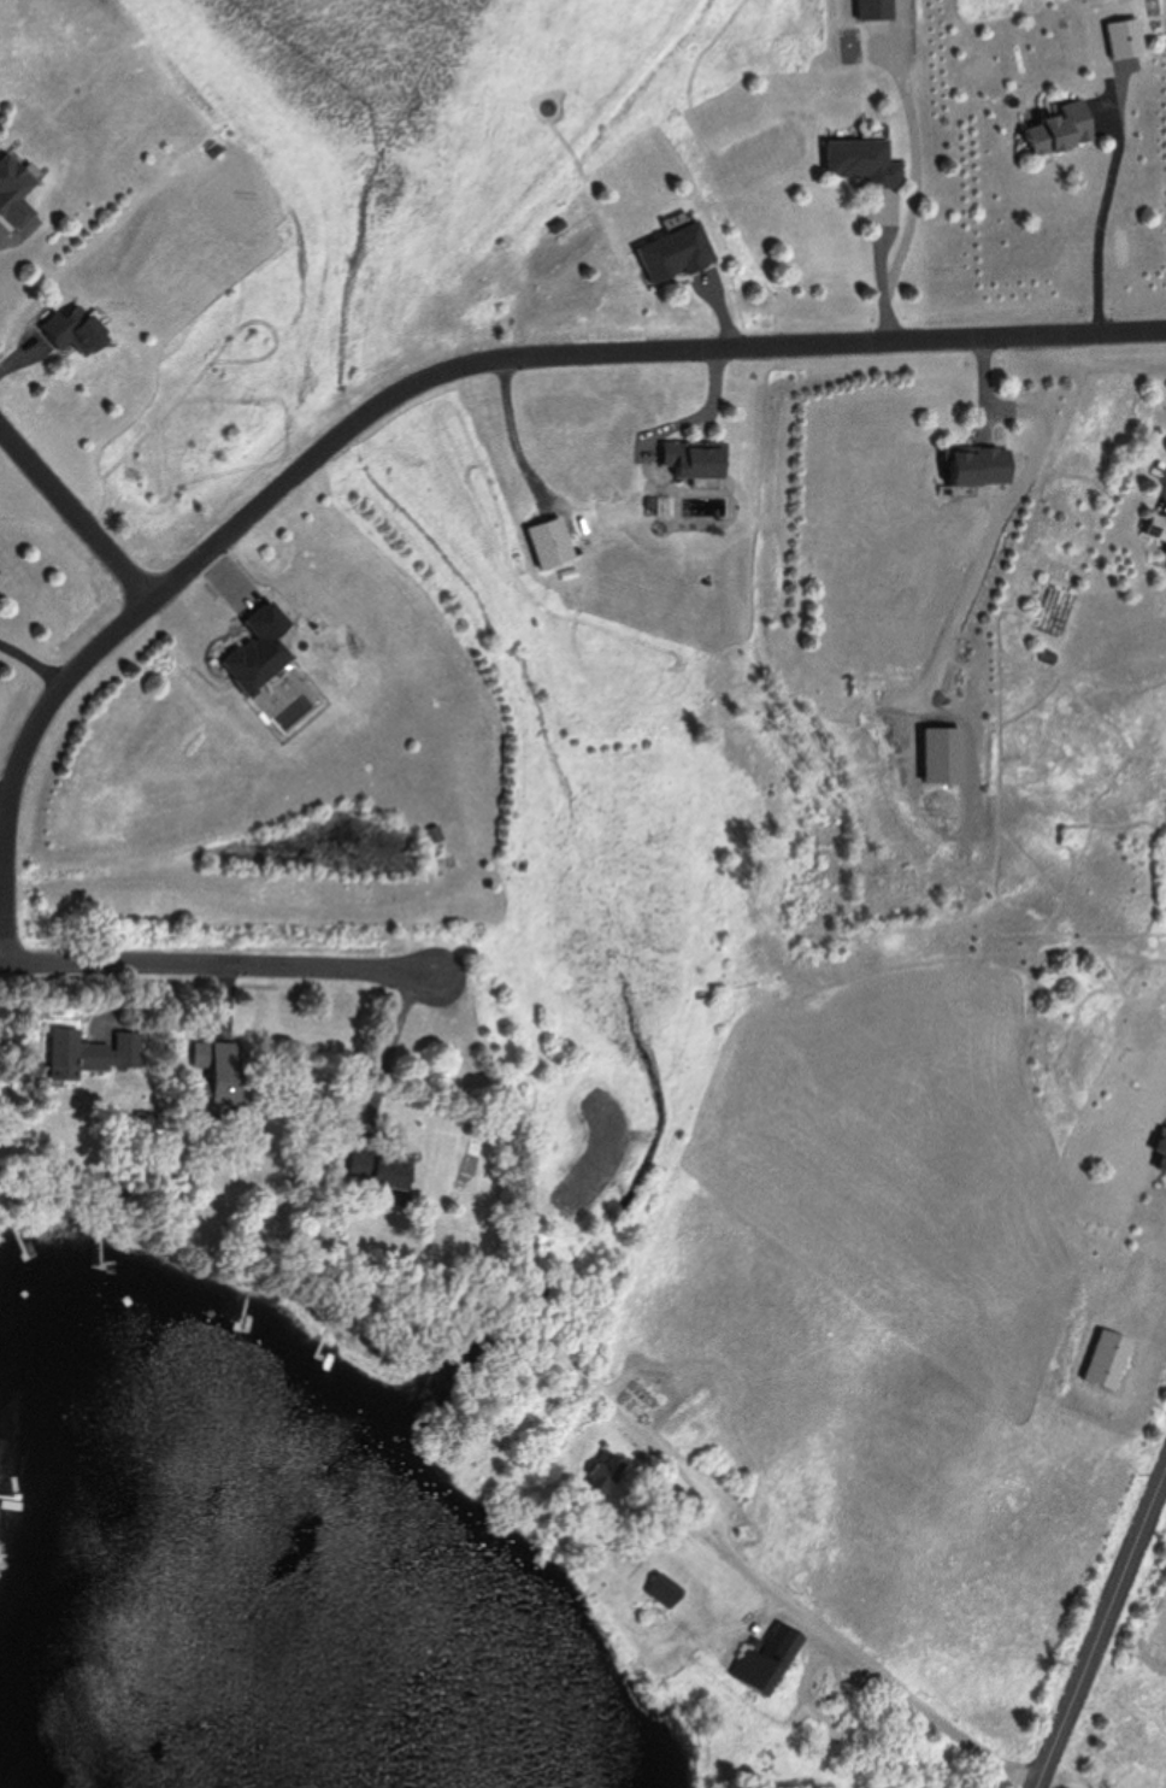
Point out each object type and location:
building: (1061, 129)
building: (867, 160)
building: (17, 194)
road: (1100, 224)
building: (677, 253)
road: (882, 271)
building: (71, 331)
road: (417, 380)
building: (697, 458)
building: (982, 465)
road: (76, 510)
building: (1158, 527)
building: (554, 542)
building: (263, 647)
road: (35, 660)
road: (7, 792)
building: (440, 834)
road: (218, 967)
building: (77, 1053)
road: (390, 1055)
building: (225, 1071)
building: (1162, 1152)
building: (382, 1169)
building: (1109, 1358)
building: (607, 1474)
road: (677, 1510)
road: (724, 1523)
building: (669, 1590)
road: (1101, 1629)
building: (768, 1659)
park: (1127, 1693)
road: (914, 1700)

